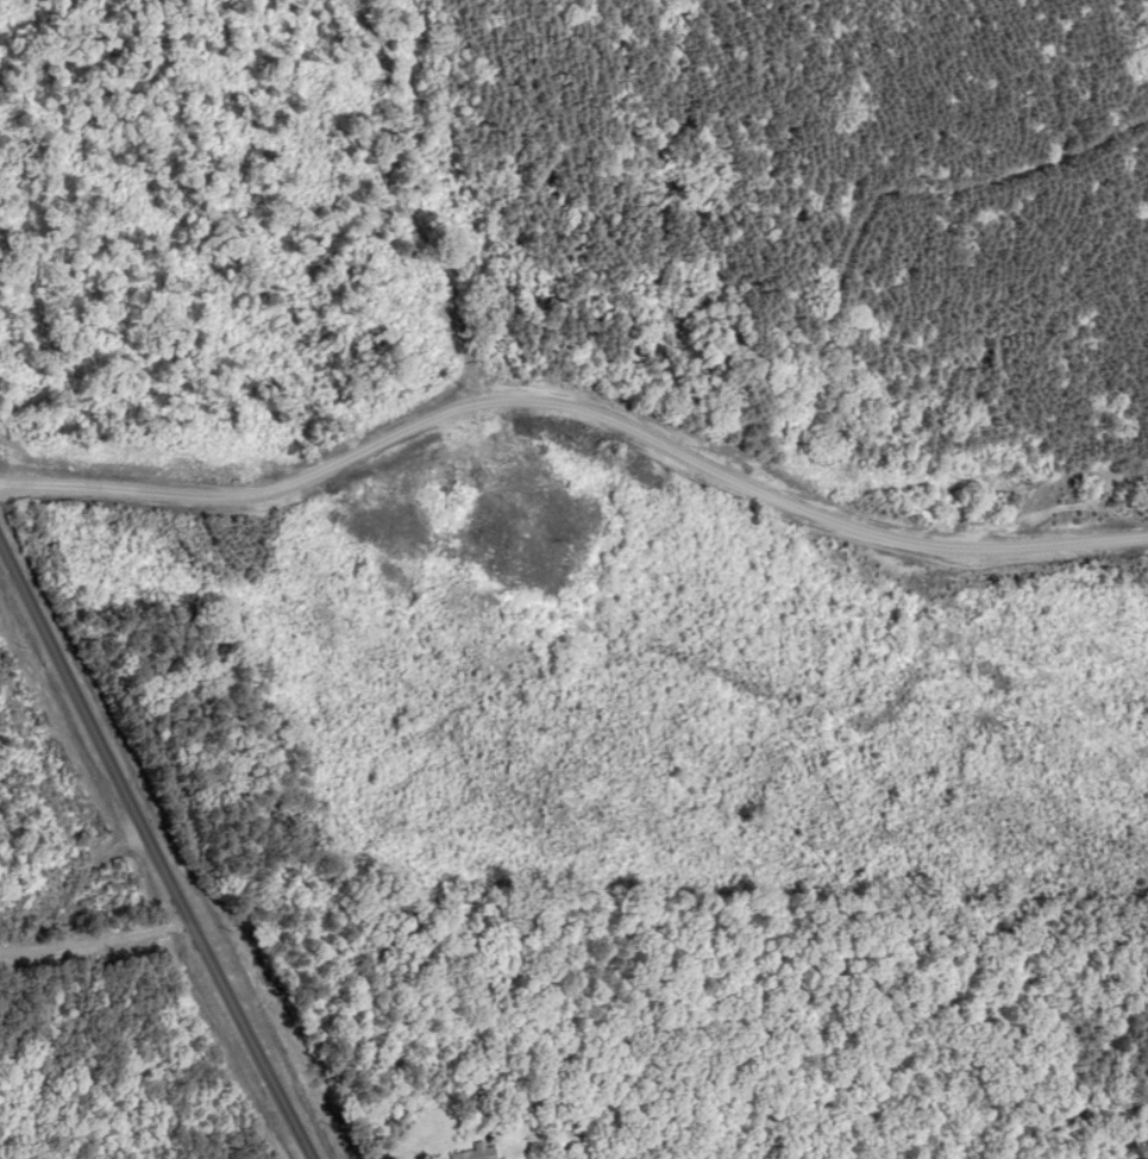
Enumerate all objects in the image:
road: (567, 349)
road: (164, 835)
building: (482, 1152)

